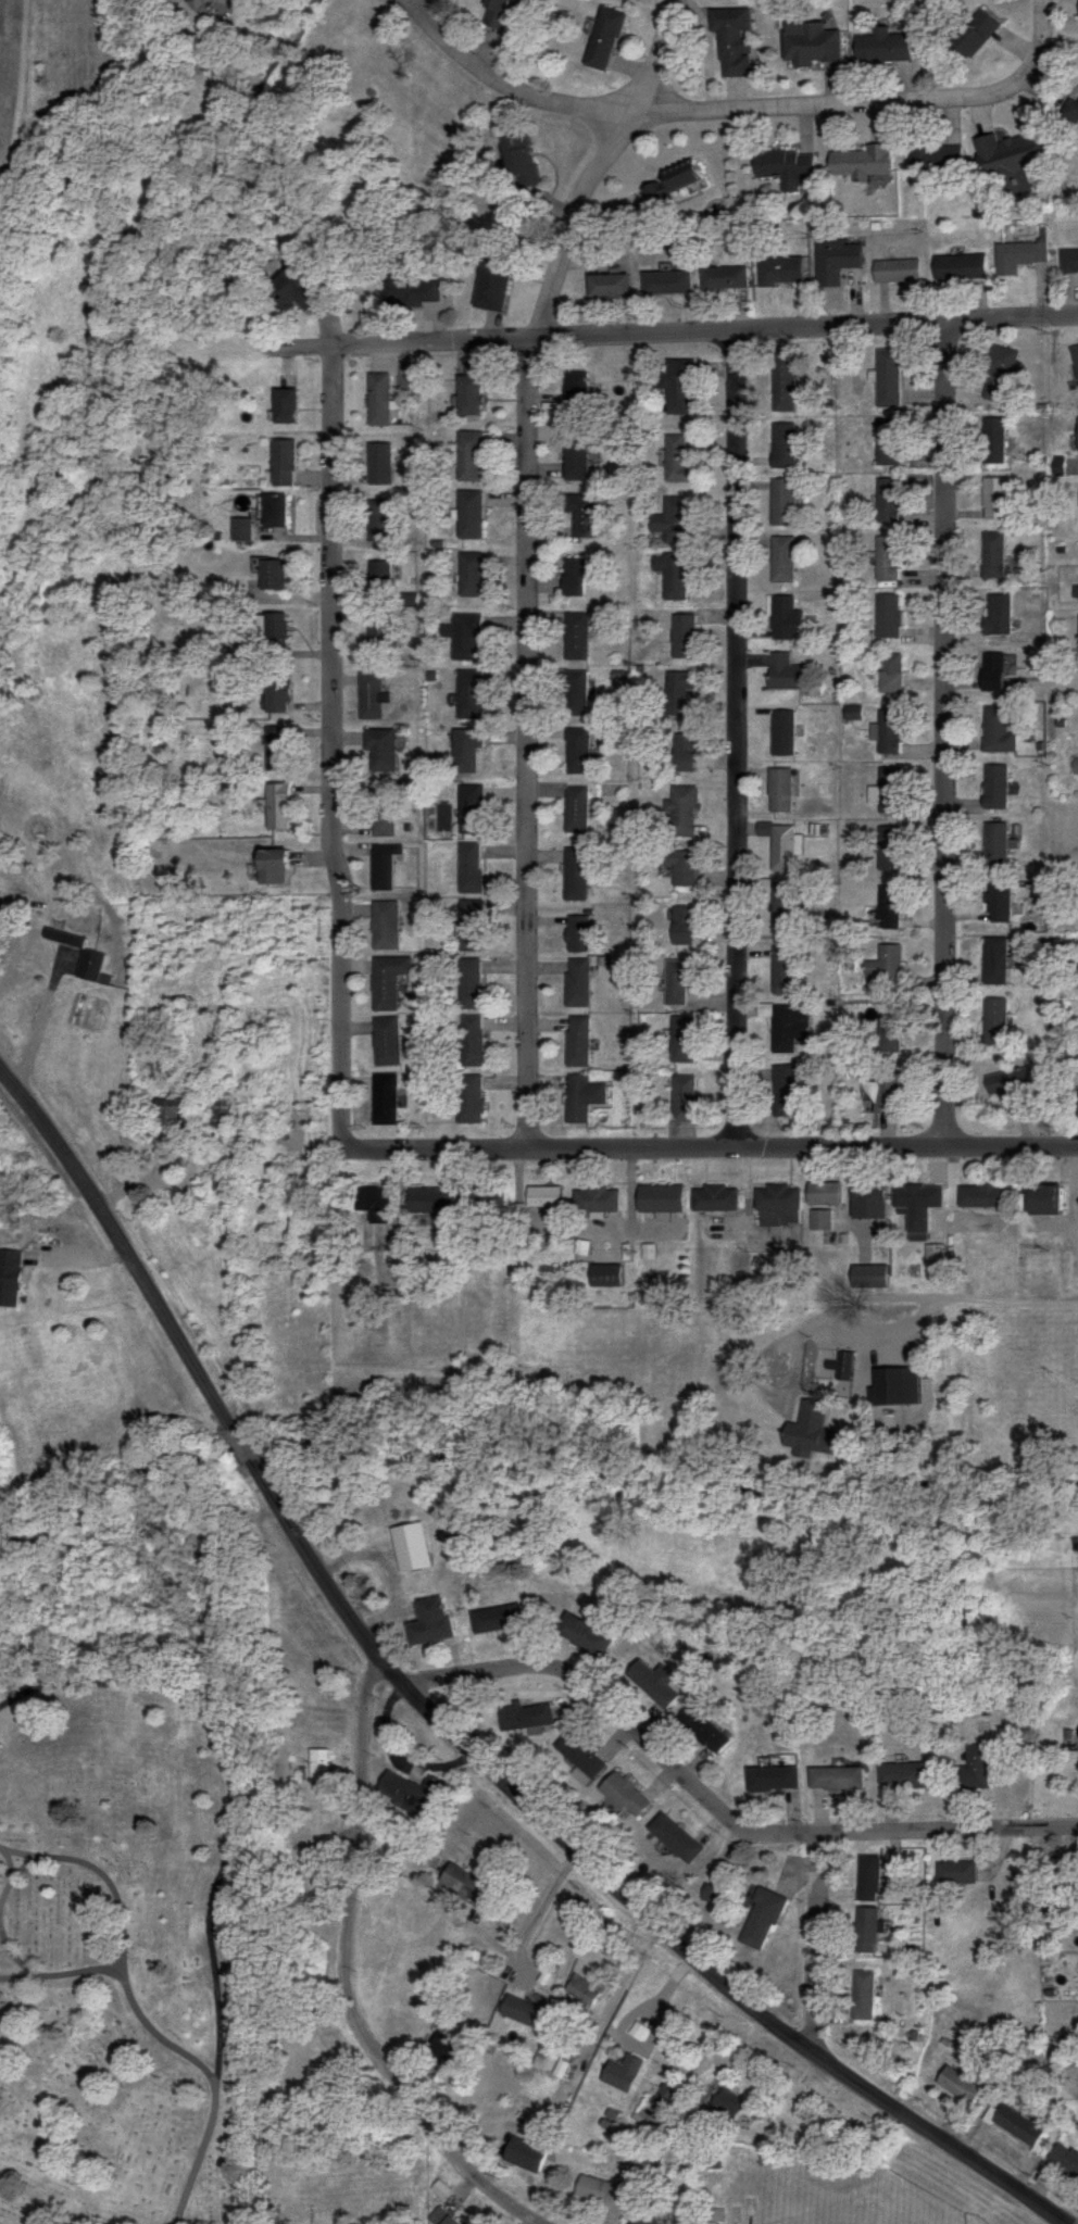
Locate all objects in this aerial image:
road: (416, 2)
building: (494, 13)
building: (974, 35)
building: (604, 40)
building: (732, 41)
building: (807, 47)
building: (885, 48)
road: (1035, 55)
crop: (12, 81)
road: (502, 85)
road: (810, 105)
building: (1074, 114)
building: (1013, 160)
building: (521, 161)
building: (936, 161)
road: (599, 164)
building: (860, 164)
building: (787, 169)
building: (670, 181)
building: (1017, 257)
building: (1069, 260)
building: (835, 261)
building: (958, 268)
building: (781, 269)
building: (897, 271)
building: (725, 277)
building: (666, 282)
building: (492, 284)
building: (609, 286)
building: (294, 290)
building: (411, 290)
road: (673, 331)
building: (1075, 356)
building: (1002, 375)
building: (888, 378)
building: (782, 384)
building: (678, 387)
building: (579, 390)
building: (469, 395)
building: (378, 400)
building: (284, 406)
building: (1077, 432)
building: (994, 441)
building: (888, 443)
building: (784, 447)
building: (471, 456)
building: (677, 458)
building: (576, 460)
building: (284, 463)
building: (379, 464)
building: (1058, 466)
building: (994, 499)
building: (890, 501)
building: (782, 503)
building: (275, 511)
building: (581, 514)
building: (471, 515)
building: (674, 520)
building: (379, 522)
building: (241, 530)
building: (993, 556)
building: (888, 558)
building: (782, 561)
building: (674, 573)
building: (471, 575)
building: (273, 576)
building: (381, 577)
building: (575, 577)
building: (1075, 592)
building: (996, 615)
building: (888, 616)
building: (785, 619)
building: (276, 628)
building: (381, 632)
building: (465, 636)
building: (576, 637)
building: (684, 637)
building: (993, 671)
building: (786, 673)
building: (891, 673)
building: (576, 692)
building: (678, 692)
building: (471, 694)
building: (277, 695)
building: (371, 695)
building: (852, 713)
building: (998, 730)
building: (889, 731)
building: (782, 732)
road: (944, 732)
road: (737, 738)
road: (528, 741)
road: (331, 745)
building: (276, 749)
building: (467, 749)
building: (380, 750)
building: (578, 751)
building: (684, 753)
building: (1075, 766)
building: (995, 786)
building: (779, 790)
building: (890, 790)
building: (278, 806)
building: (471, 808)
building: (577, 809)
building: (680, 812)
building: (384, 820)
building: (995, 844)
building: (779, 845)
building: (889, 849)
building: (272, 866)
building: (384, 866)
building: (678, 866)
building: (471, 868)
building: (576, 875)
building: (999, 903)
building: (781, 907)
building: (891, 907)
building: (385, 926)
building: (471, 926)
building: (682, 926)
building: (580, 933)
building: (36, 946)
building: (995, 962)
building: (89, 966)
building: (887, 966)
building: (782, 970)
building: (388, 981)
building: (678, 981)
building: (577, 983)
building: (469, 984)
building: (995, 1022)
building: (789, 1027)
building: (889, 1027)
building: (682, 1041)
building: (471, 1042)
building: (577, 1042)
building: (387, 1043)
building: (780, 1091)
building: (1013, 1091)
building: (883, 1093)
building: (581, 1098)
building: (682, 1098)
building: (468, 1100)
building: (385, 1101)
building: (168, 1113)
building: (221, 1114)
road: (710, 1147)
building: (824, 1194)
building: (917, 1196)
building: (983, 1196)
building: (543, 1197)
building: (487, 1198)
building: (660, 1198)
building: (714, 1198)
building: (430, 1199)
building: (596, 1199)
building: (868, 1199)
building: (1043, 1199)
building: (377, 1206)
building: (778, 1206)
building: (820, 1220)
building: (604, 1276)
building: (9, 1278)
building: (868, 1278)
building: (766, 1357)
road: (192, 1359)
building: (837, 1371)
building: (812, 1440)
building: (411, 1548)
building: (498, 1620)
building: (430, 1623)
building: (584, 1636)
road: (391, 1670)
building: (657, 1685)
building: (525, 1720)
building: (704, 1731)
building: (581, 1758)
building: (975, 1767)
building: (318, 1769)
building: (900, 1777)
road: (231, 1780)
building: (773, 1780)
building: (836, 1780)
road: (358, 1790)
building: (412, 1792)
building: (625, 1796)
road: (718, 1808)
building: (676, 1838)
building: (276, 1847)
building: (955, 1874)
road: (100, 1875)
building: (867, 1880)
road: (11, 1881)
building: (465, 1886)
building: (714, 1894)
building: (761, 1921)
building: (864, 1932)
road: (817, 1943)
road: (16, 1977)
park: (165, 1977)
road: (713, 1978)
building: (582, 1990)
building: (863, 1996)
building: (523, 2013)
building: (637, 2032)
road: (158, 2037)
building: (447, 2050)
building: (561, 2071)
building: (622, 2074)
building: (958, 2086)
road: (409, 2096)
building: (664, 2100)
building: (725, 2110)
building: (1016, 2127)
building: (525, 2156)
building: (1064, 2162)
building: (602, 2192)
park: (844, 2207)
building: (440, 2217)
building: (647, 2220)

